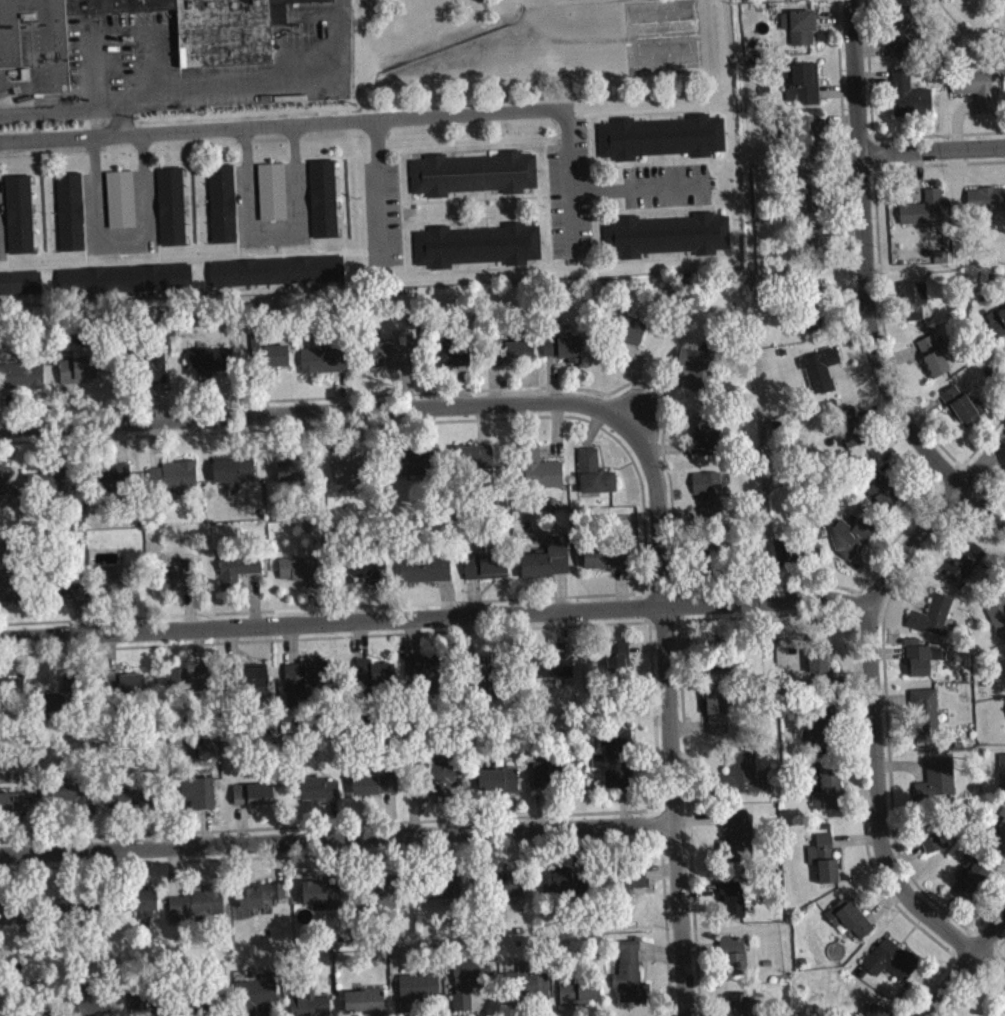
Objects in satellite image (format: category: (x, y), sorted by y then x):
building: (789, 0)
road: (97, 7)
road: (98, 21)
parking lot: (318, 37)
building: (903, 41)
building: (223, 46)
parking lot: (110, 50)
road: (203, 79)
building: (804, 88)
building: (978, 93)
parking lot: (243, 98)
building: (911, 101)
road: (122, 118)
road: (282, 125)
building: (660, 136)
building: (811, 143)
road: (934, 154)
building: (472, 172)
road: (568, 179)
parking lot: (666, 185)
road: (377, 186)
road: (634, 186)
parking lot: (295, 191)
parking lot: (569, 191)
building: (321, 197)
building: (810, 197)
parking lot: (144, 198)
building: (274, 198)
building: (221, 202)
building: (122, 205)
building: (169, 205)
building: (987, 206)
building: (69, 209)
parking lot: (381, 212)
building: (17, 213)
building: (927, 215)
parking lot: (1, 223)
road: (272, 225)
road: (120, 234)
building: (664, 234)
building: (475, 245)
building: (942, 263)
building: (275, 270)
building: (123, 278)
building: (19, 282)
road: (869, 285)
building: (915, 308)
building: (812, 326)
building: (996, 327)
building: (630, 336)
building: (930, 350)
building: (564, 353)
building: (512, 357)
building: (272, 362)
building: (393, 362)
building: (451, 362)
building: (211, 367)
building: (325, 367)
building: (937, 370)
building: (157, 374)
building: (698, 374)
building: (80, 376)
building: (822, 377)
building: (22, 382)
road: (319, 412)
building: (965, 413)
building: (852, 434)
building: (709, 440)
building: (475, 464)
building: (414, 468)
building: (235, 475)
building: (541, 475)
building: (291, 478)
building: (351, 479)
building: (596, 480)
building: (175, 483)
building: (4, 485)
building: (116, 485)
building: (880, 494)
building: (710, 501)
building: (0, 512)
road: (935, 524)
building: (851, 544)
building: (812, 556)
building: (788, 560)
building: (608, 562)
building: (549, 566)
building: (487, 572)
building: (965, 572)
building: (366, 575)
building: (427, 575)
building: (239, 576)
building: (303, 576)
building: (177, 583)
building: (115, 586)
building: (11, 593)
building: (72, 593)
building: (997, 616)
road: (434, 621)
building: (934, 623)
building: (619, 665)
building: (923, 666)
building: (822, 668)
building: (561, 671)
building: (429, 678)
building: (375, 681)
building: (256, 686)
building: (189, 687)
building: (304, 687)
building: (126, 689)
building: (56, 709)
road: (670, 716)
building: (718, 717)
building: (926, 722)
building: (824, 738)
building: (616, 764)
building: (1003, 779)
building: (545, 781)
building: (744, 781)
building: (444, 784)
building: (939, 785)
building: (493, 787)
building: (514, 787)
building: (377, 790)
building: (827, 794)
building: (320, 795)
building: (200, 800)
building: (75, 801)
building: (254, 801)
building: (131, 804)
building: (15, 809)
road: (877, 823)
building: (999, 840)
road: (339, 841)
building: (740, 841)
building: (934, 842)
building: (825, 865)
building: (633, 886)
building: (971, 886)
building: (558, 887)
building: (442, 892)
building: (515, 893)
building: (325, 900)
building: (262, 901)
building: (733, 906)
building: (76, 908)
building: (146, 909)
building: (199, 910)
building: (18, 922)
building: (850, 924)
building: (735, 962)
building: (893, 967)
road: (968, 969)
building: (632, 981)
building: (467, 988)
building: (419, 993)
building: (534, 993)
building: (581, 997)
building: (94, 1004)
building: (366, 1006)
building: (312, 1008)
building: (740, 1008)
building: (876, 1014)

